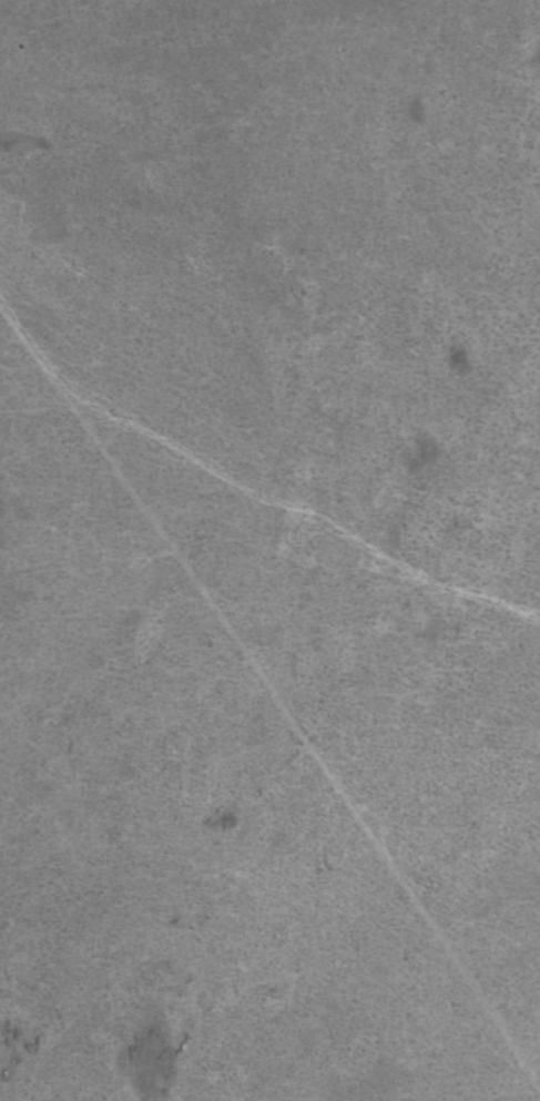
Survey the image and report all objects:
road: (274, 692)

